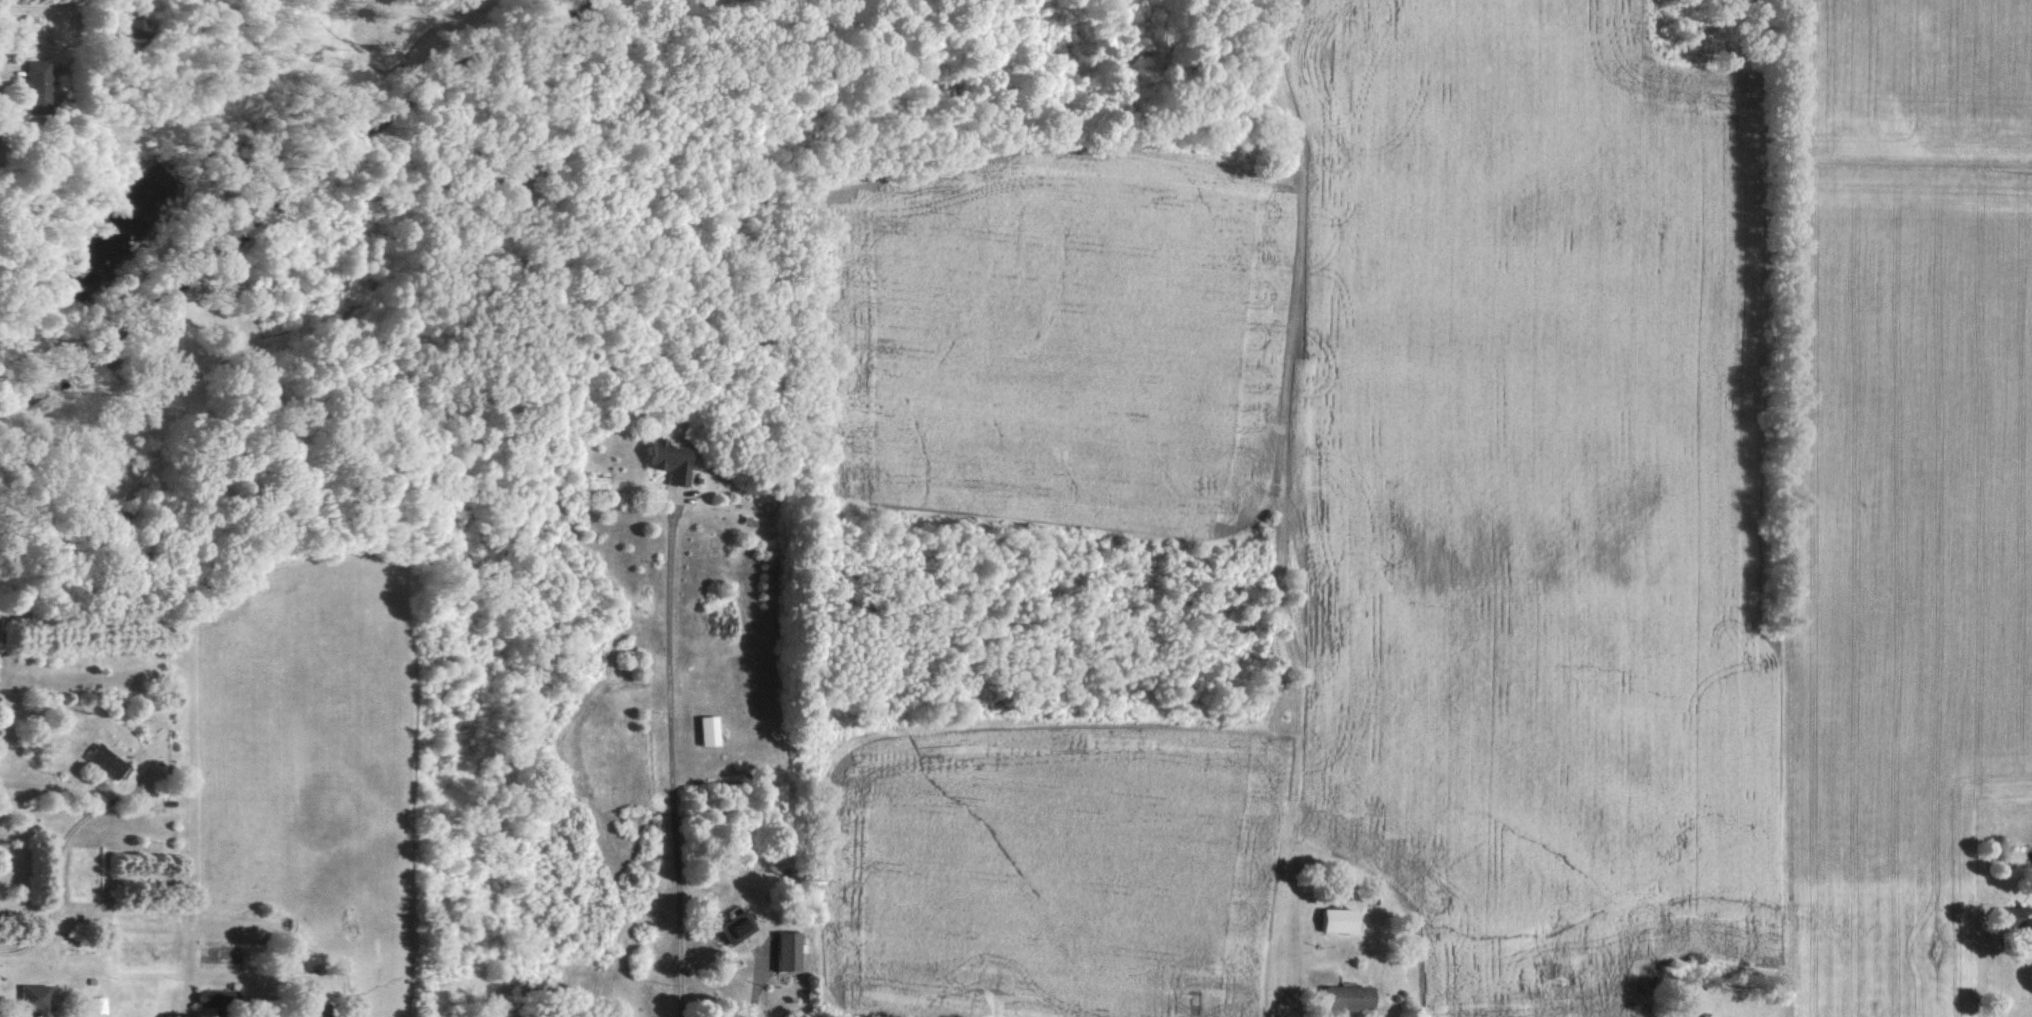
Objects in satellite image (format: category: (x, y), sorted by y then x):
building: (137, 25)
building: (34, 84)
building: (663, 460)
building: (708, 729)
building: (100, 760)
road: (672, 760)
road: (55, 861)
building: (2007, 915)
building: (1340, 920)
building: (731, 926)
building: (783, 950)
road: (753, 984)
building: (1344, 996)
building: (215, 997)
building: (32, 998)
building: (308, 1012)

